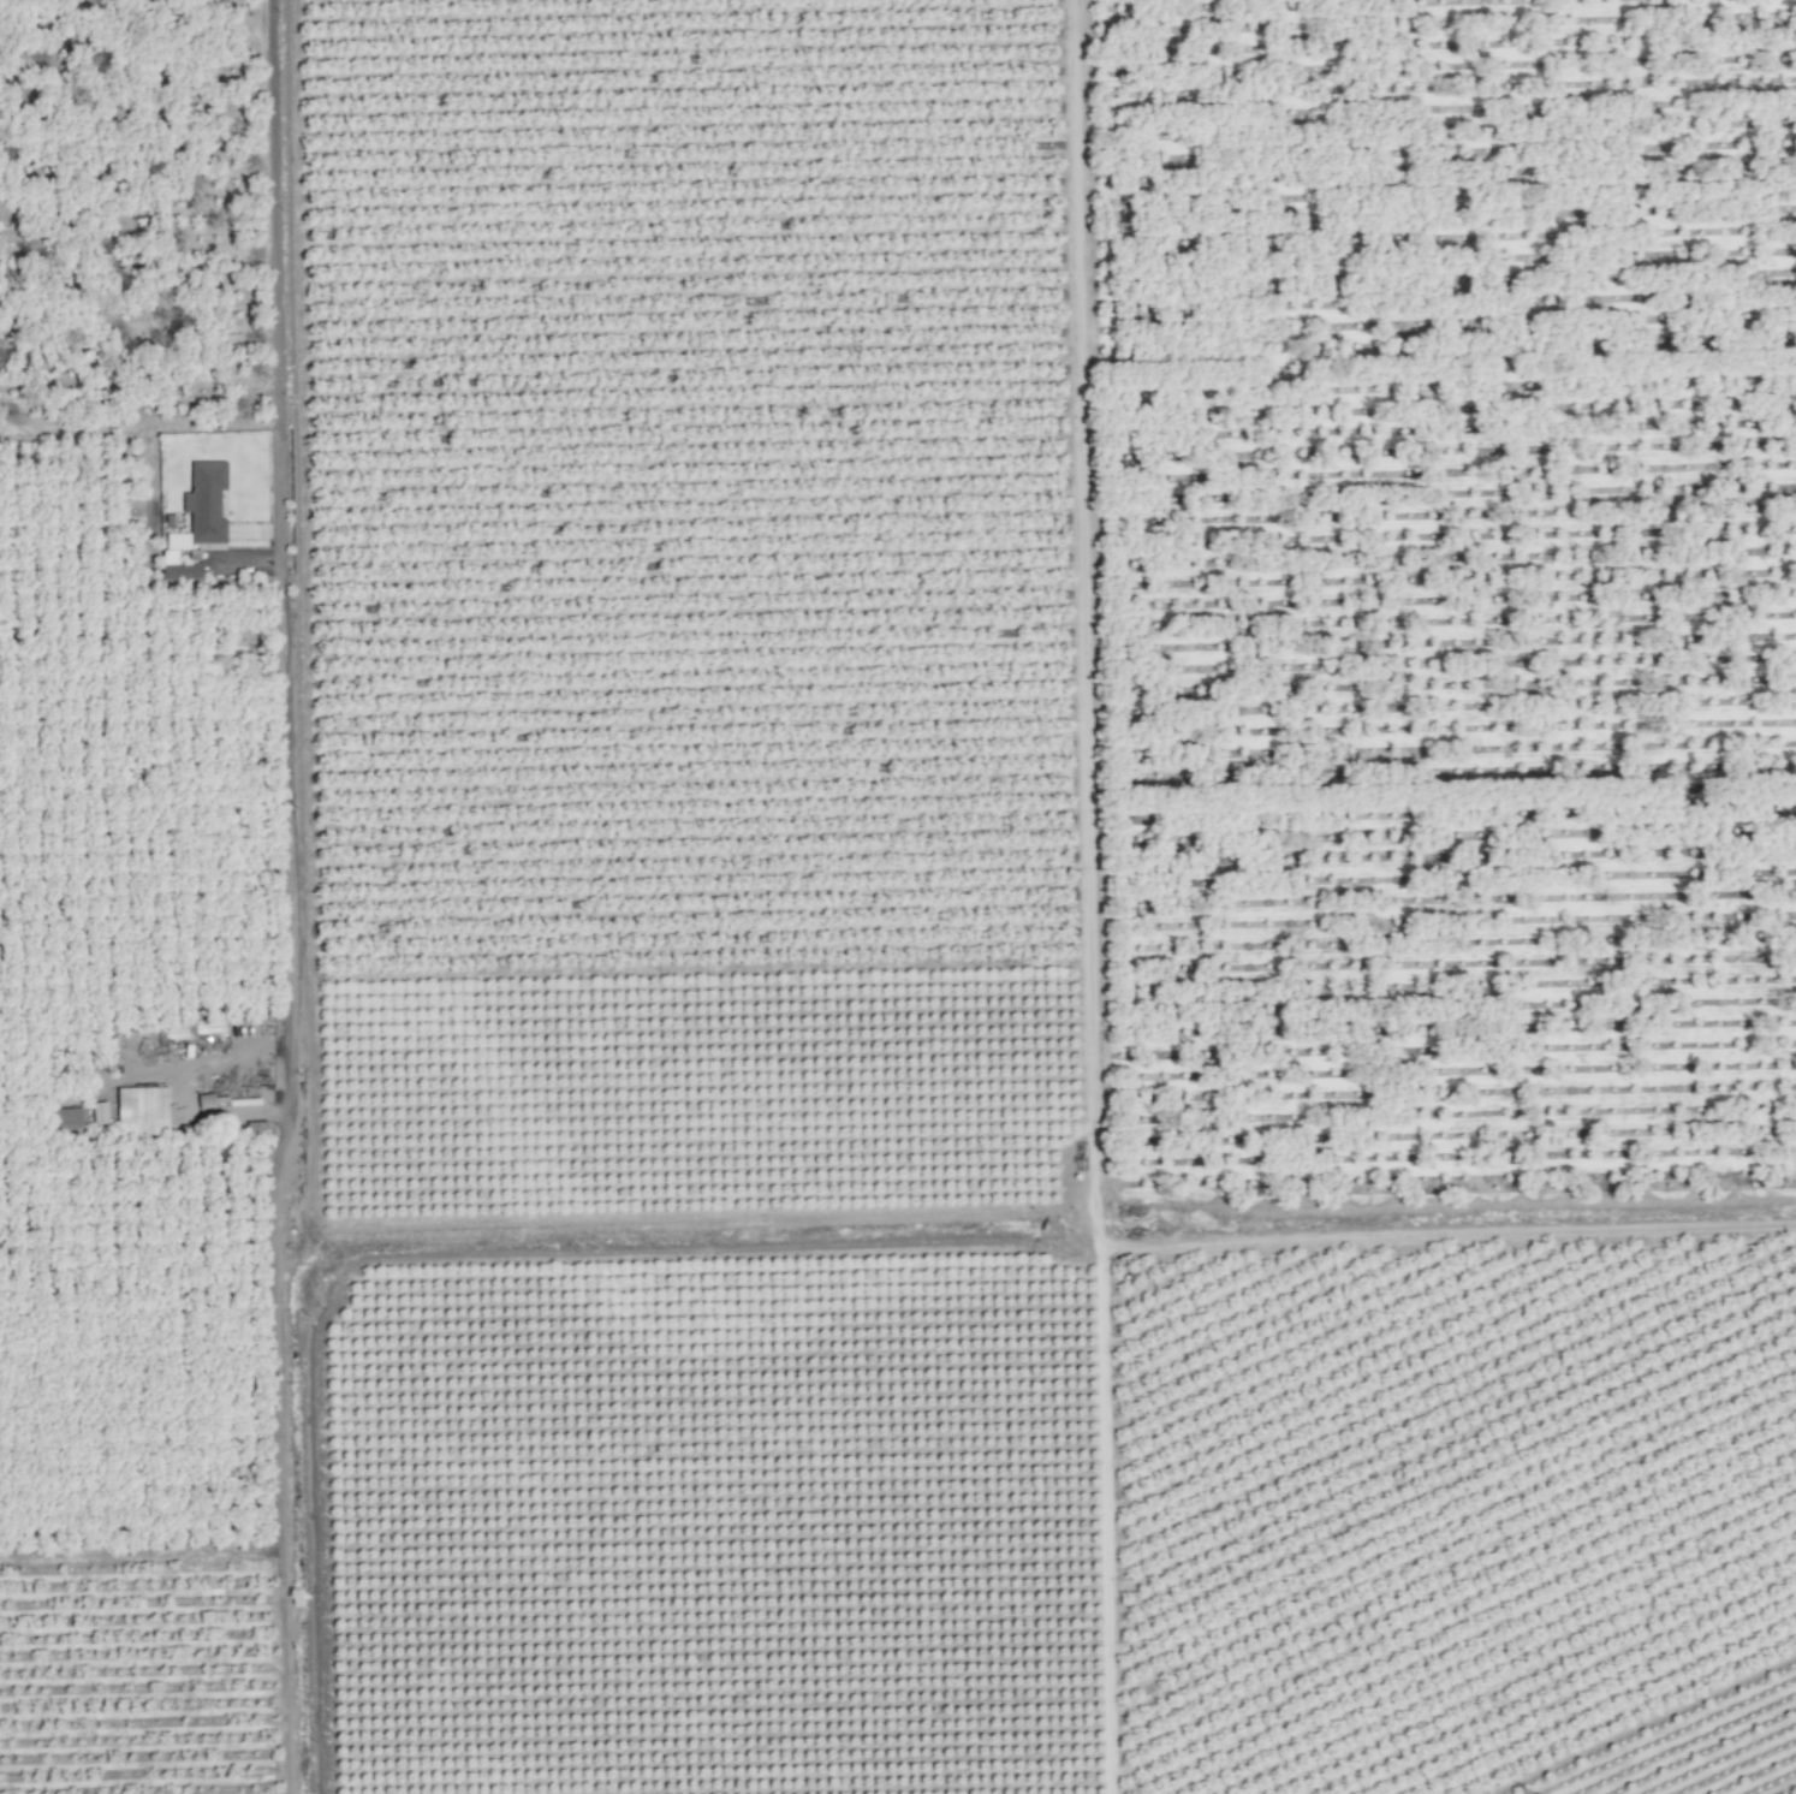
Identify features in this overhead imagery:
building: (196, 516)
road: (280, 552)
building: (143, 1109)
building: (100, 1111)
building: (70, 1116)

